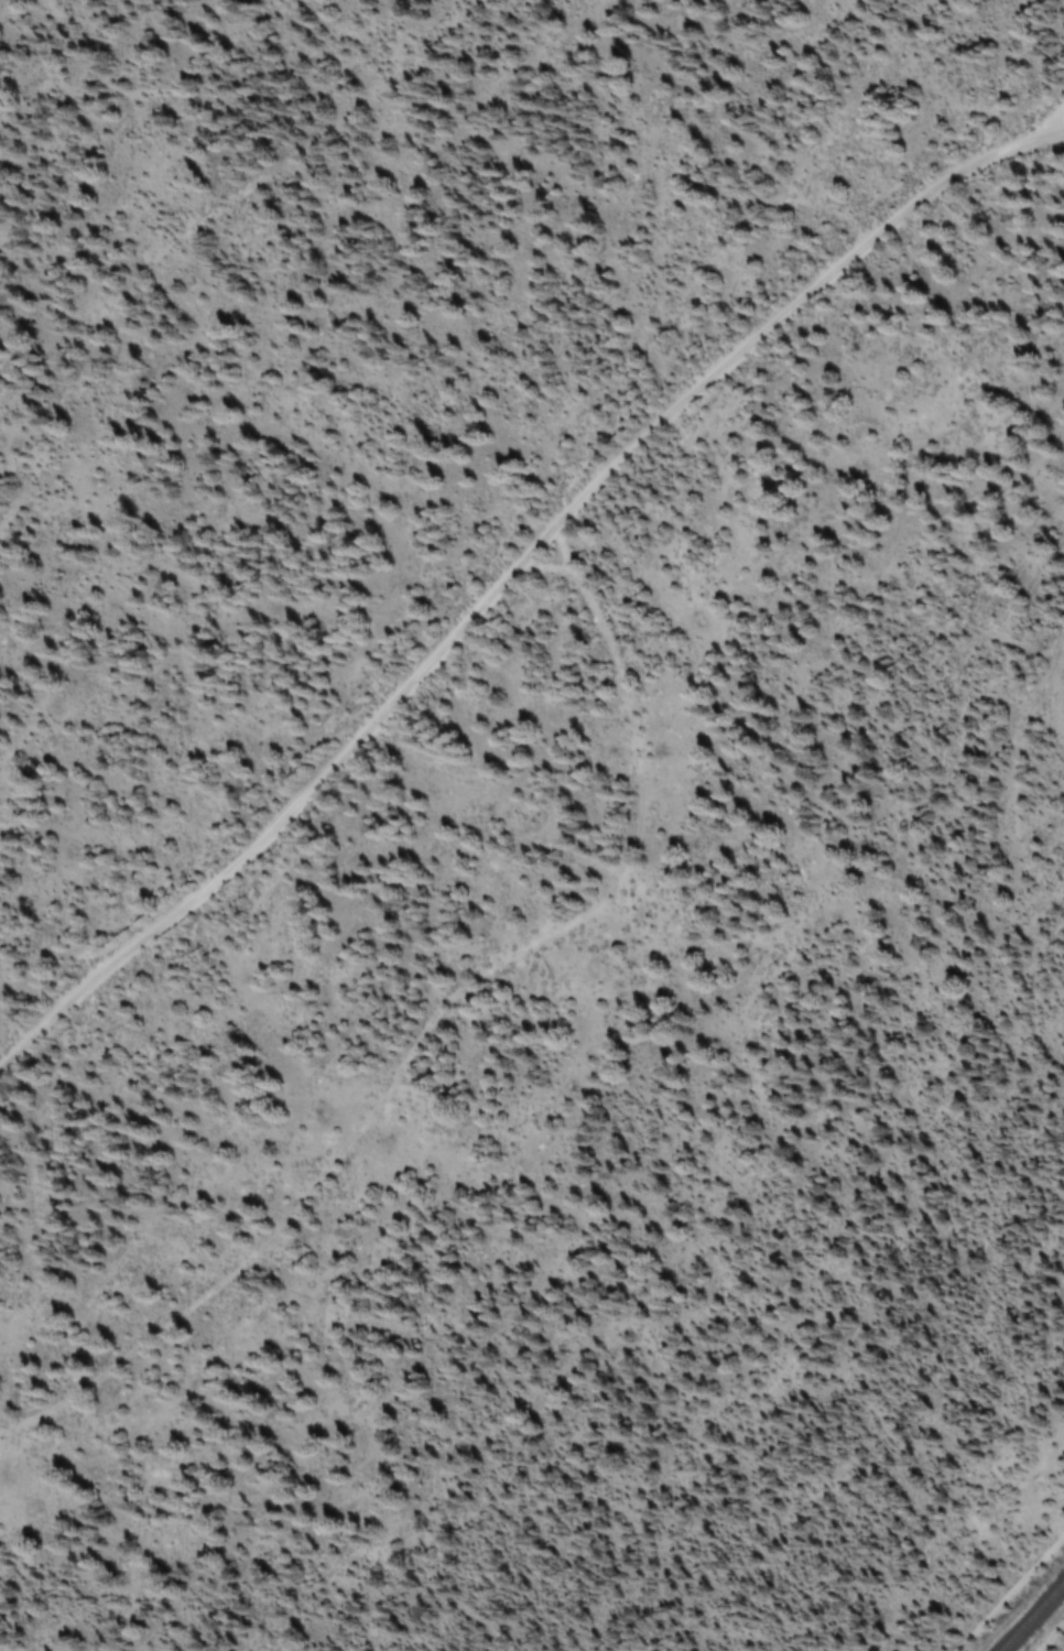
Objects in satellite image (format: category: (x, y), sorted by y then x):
road: (180, 95)
road: (1060, 129)
road: (195, 229)
road: (520, 582)
road: (1013, 1596)
railway: (1033, 1617)

